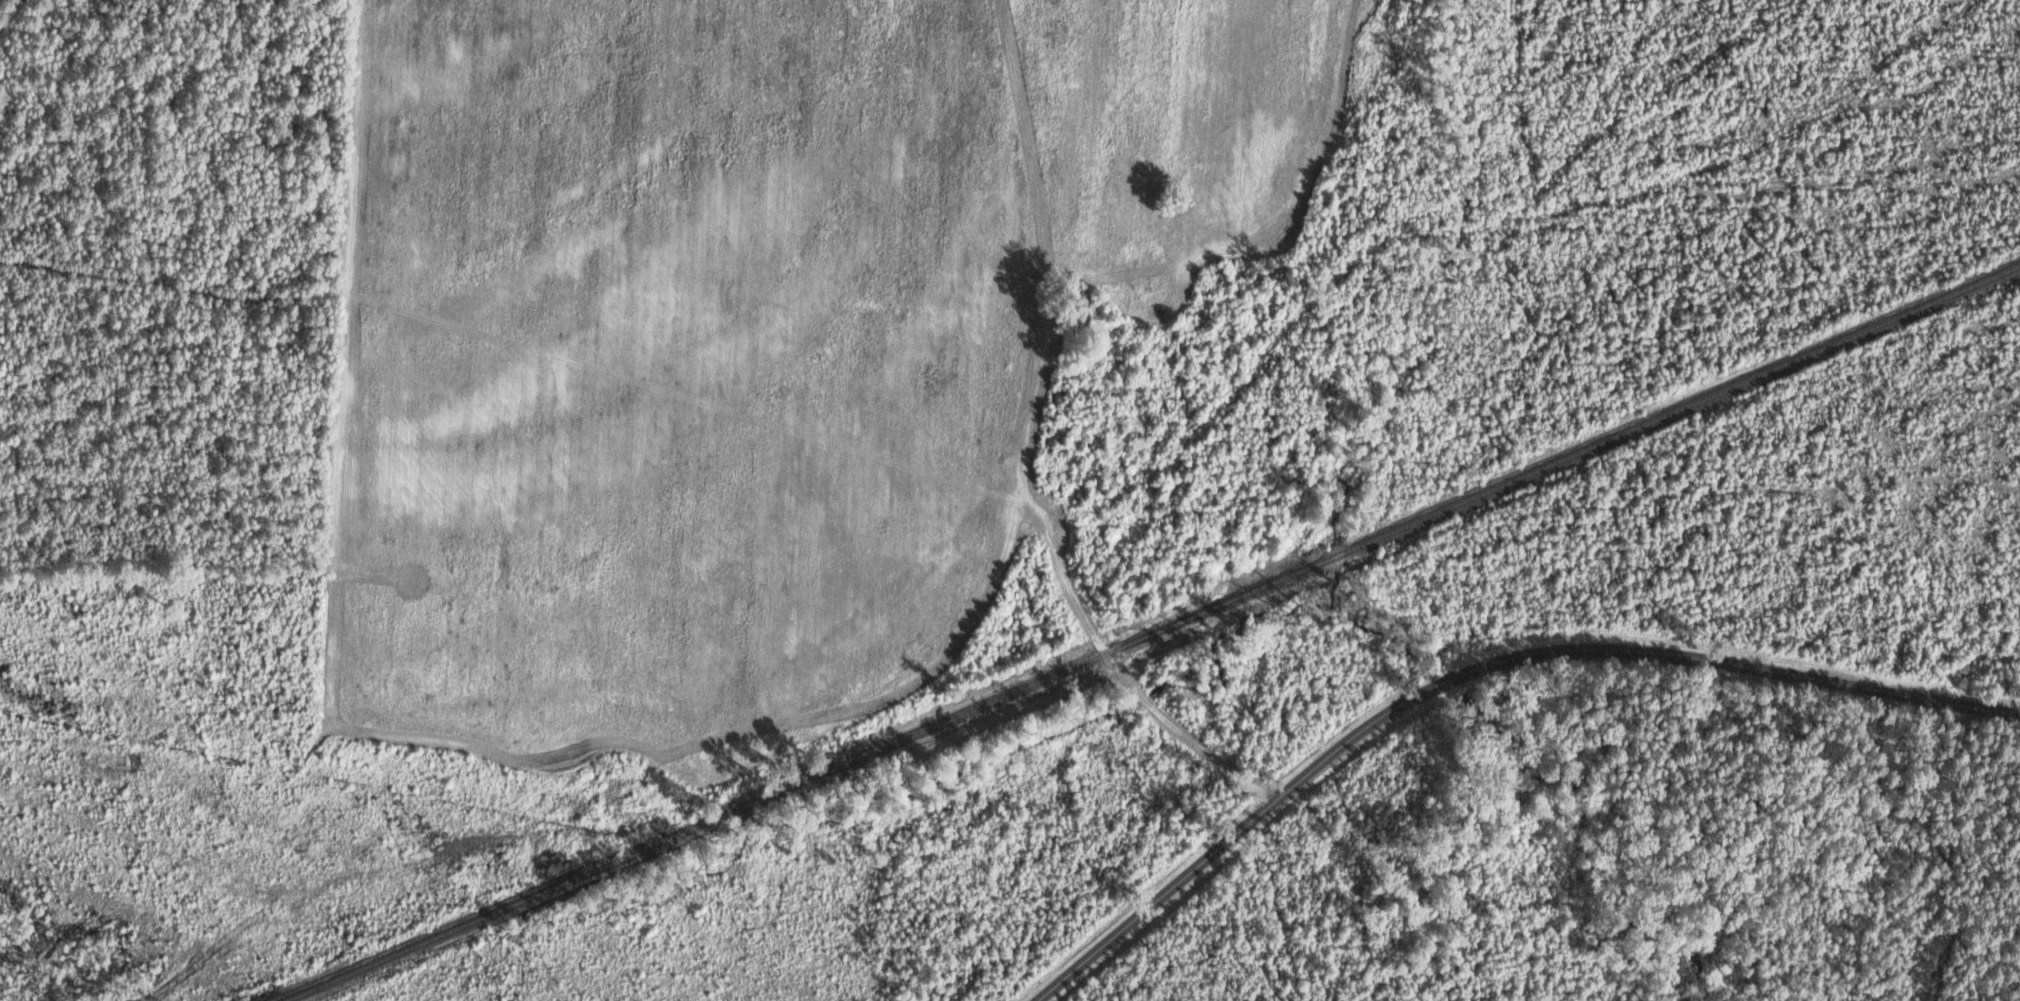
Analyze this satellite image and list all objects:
railway: (1162, 636)
road: (1477, 670)

